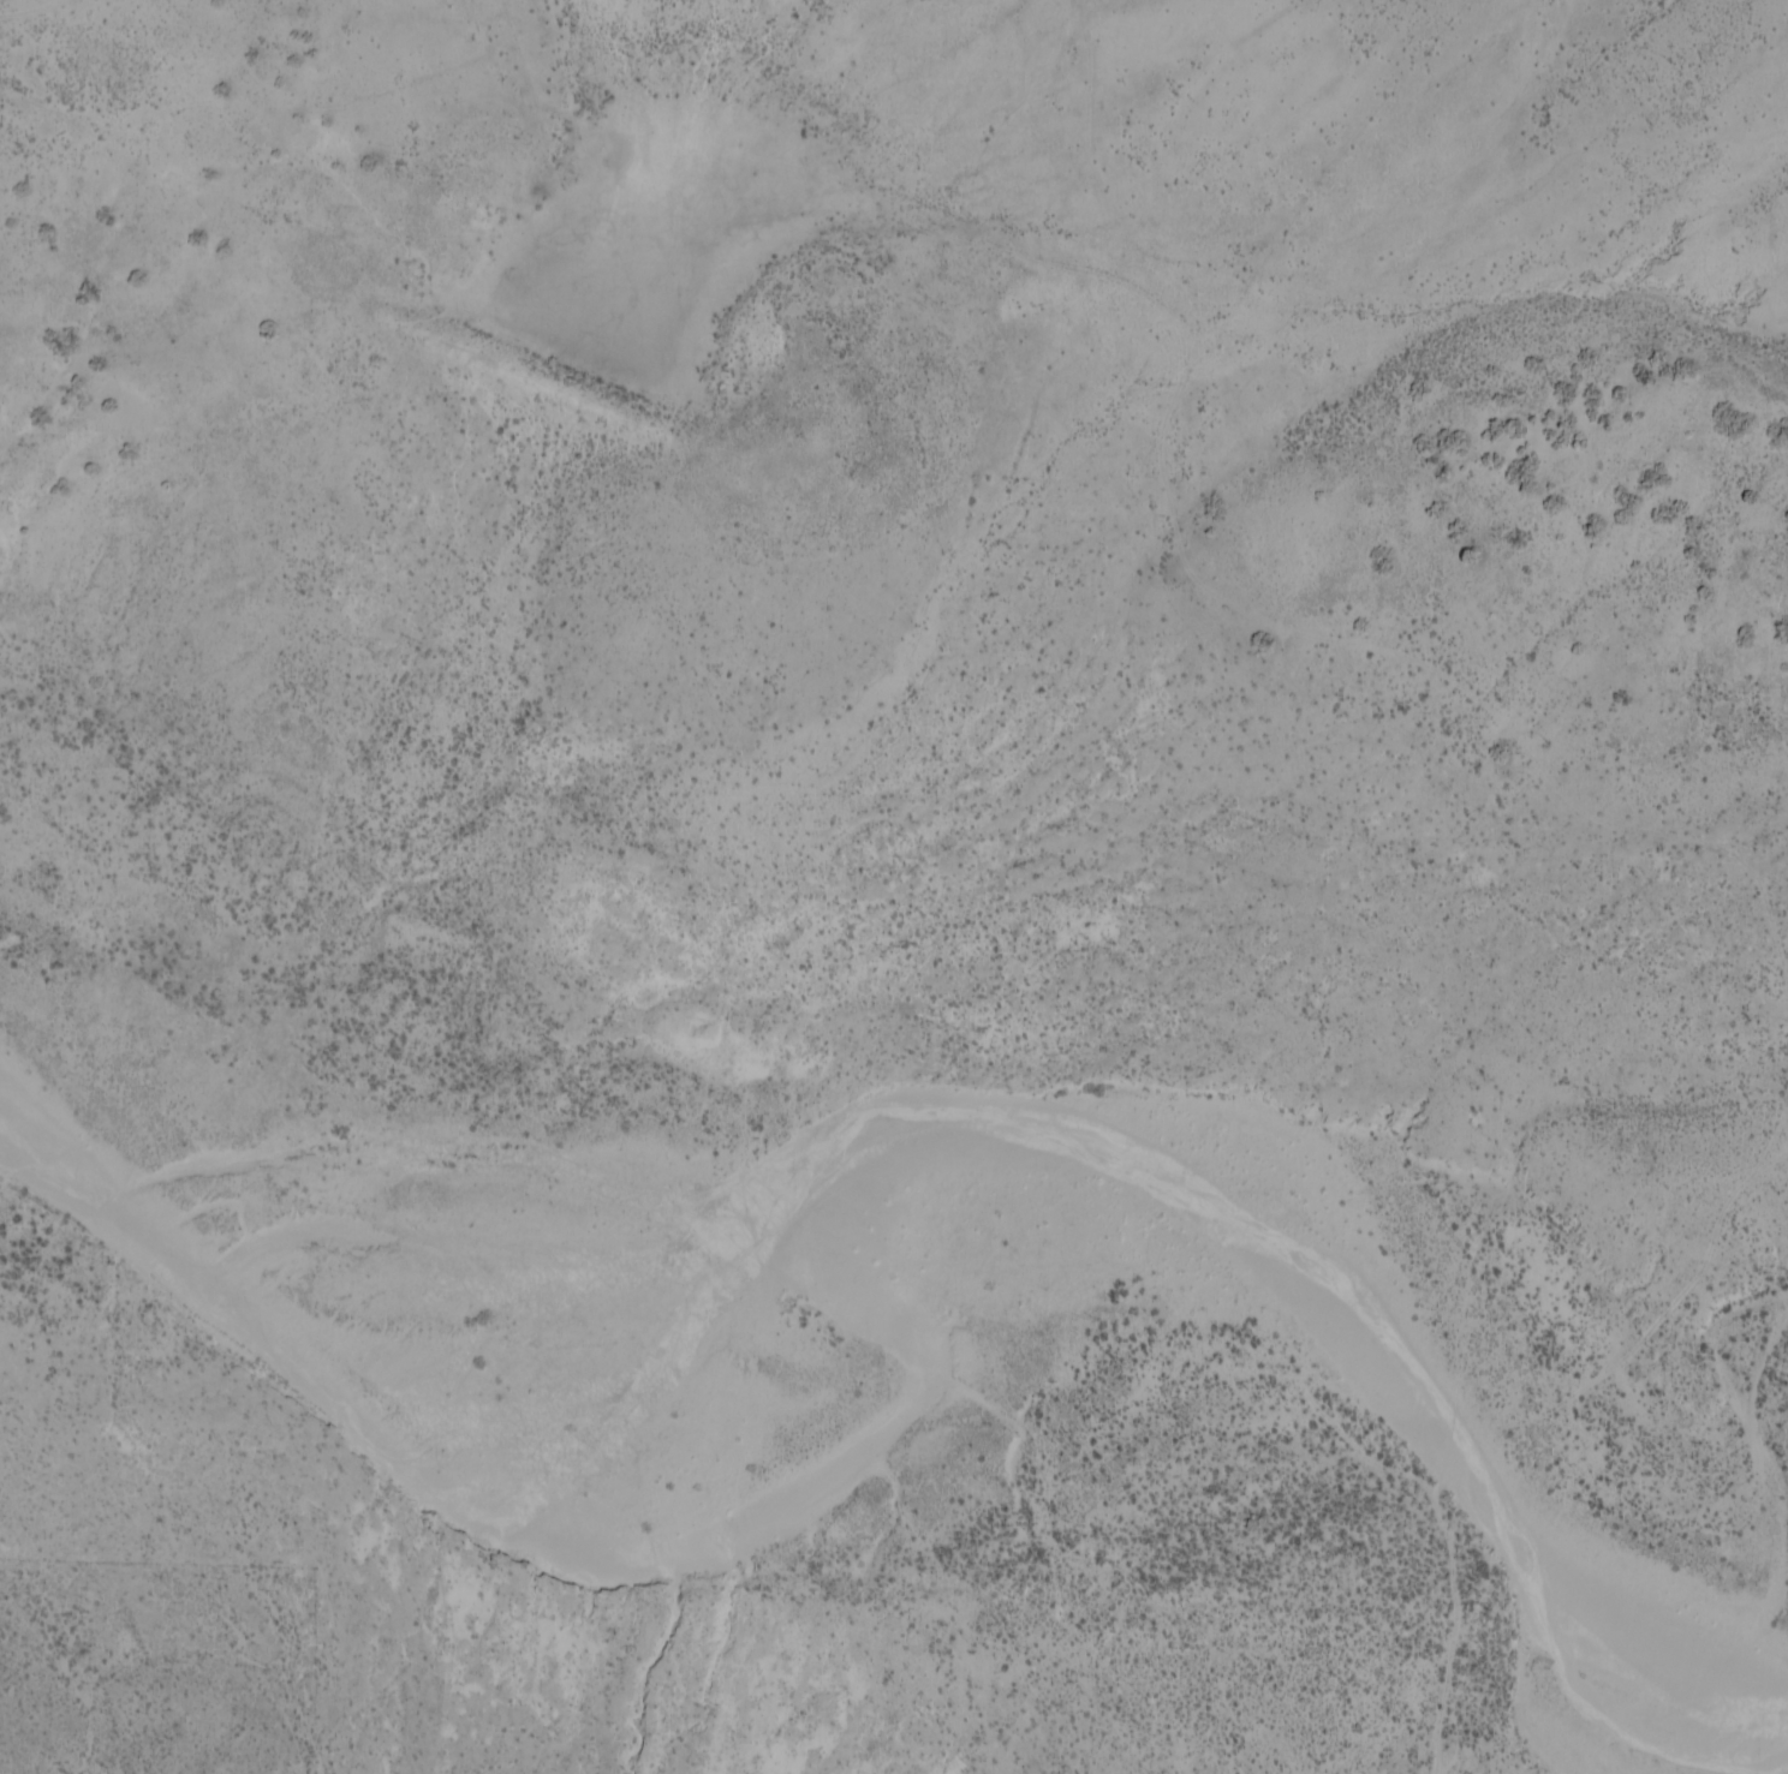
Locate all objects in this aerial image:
river: (859, 1264)

